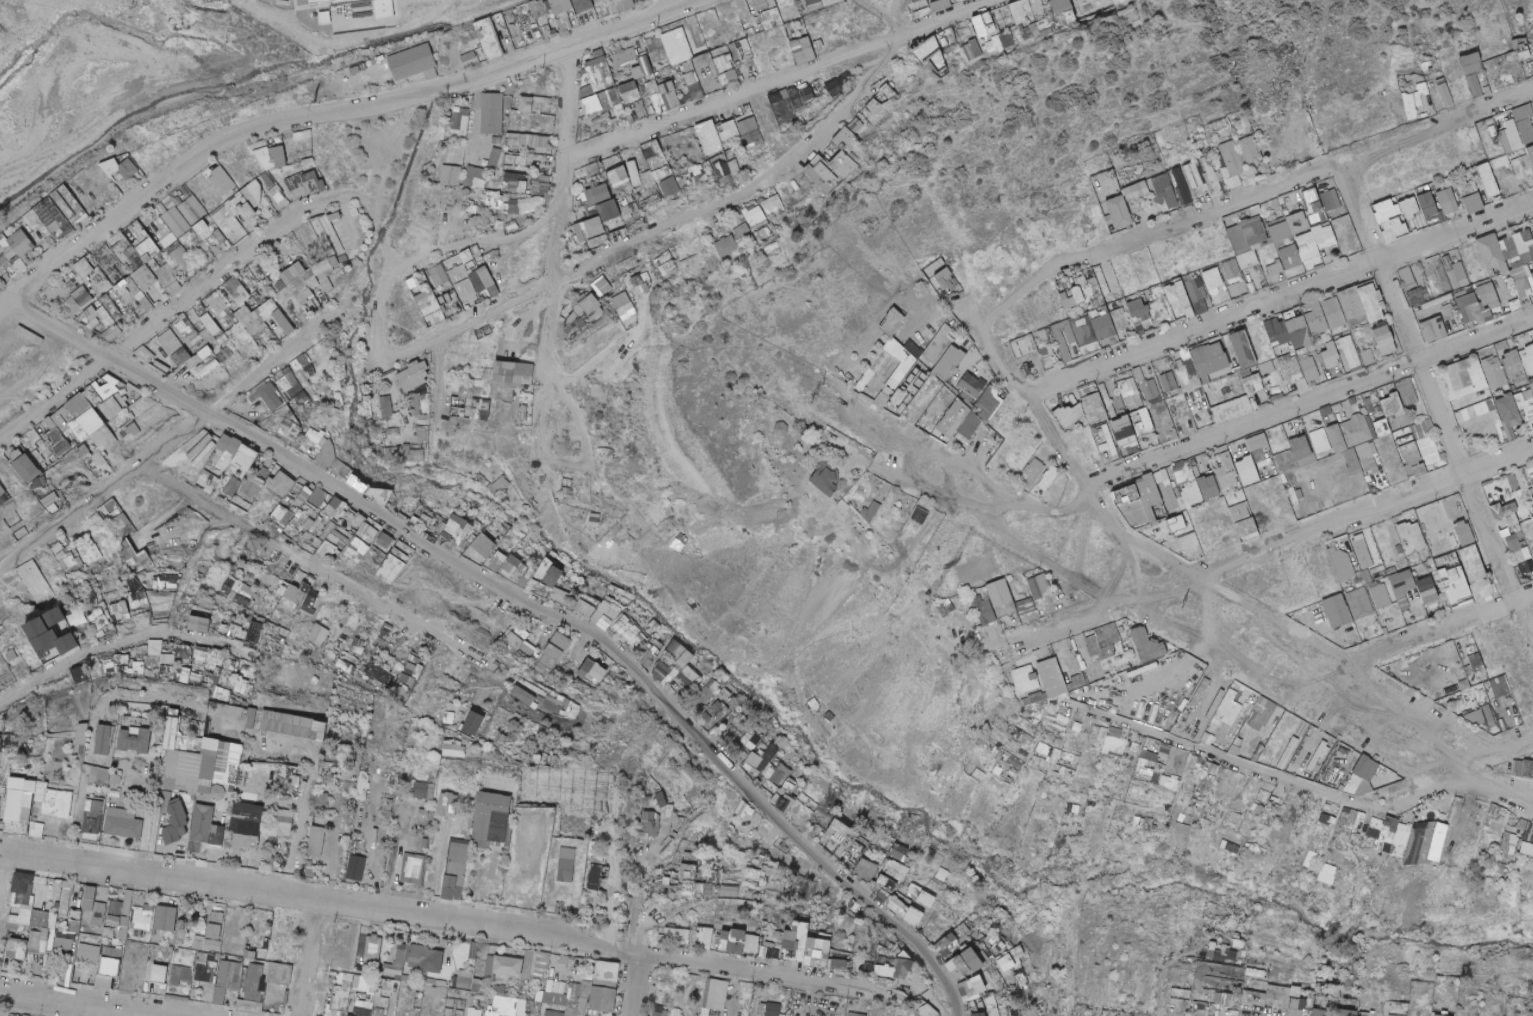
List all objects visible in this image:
park: (380, 146)

